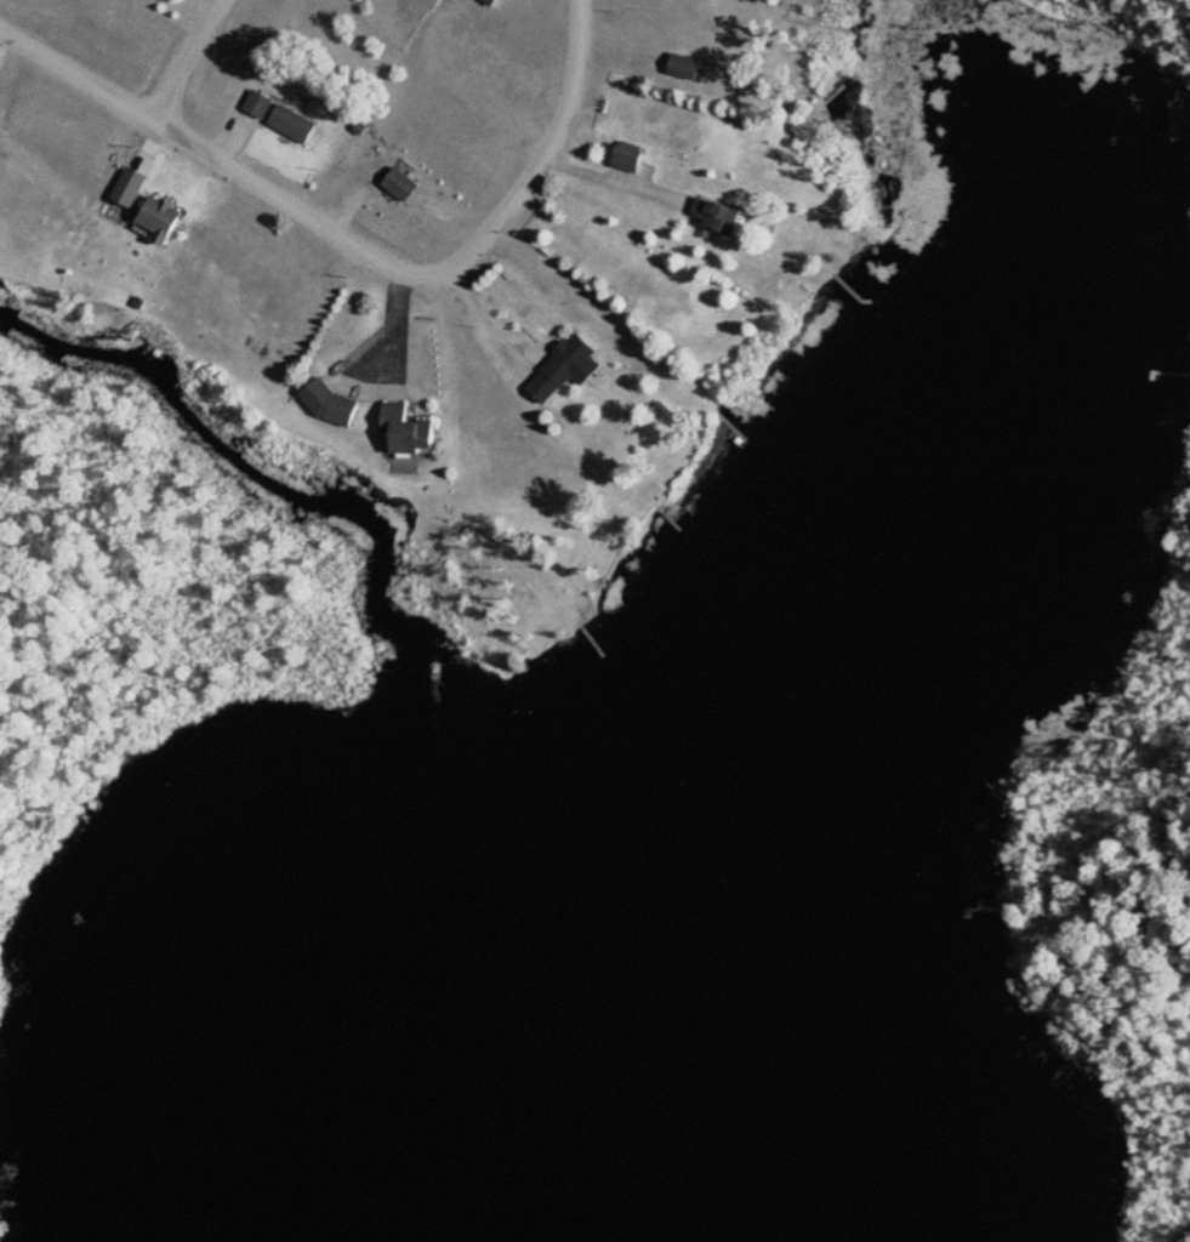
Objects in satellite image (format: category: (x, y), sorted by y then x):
road: (187, 58)
building: (286, 113)
road: (216, 155)
road: (547, 156)
building: (408, 182)
building: (165, 217)
building: (573, 365)
building: (340, 404)
river: (243, 460)

